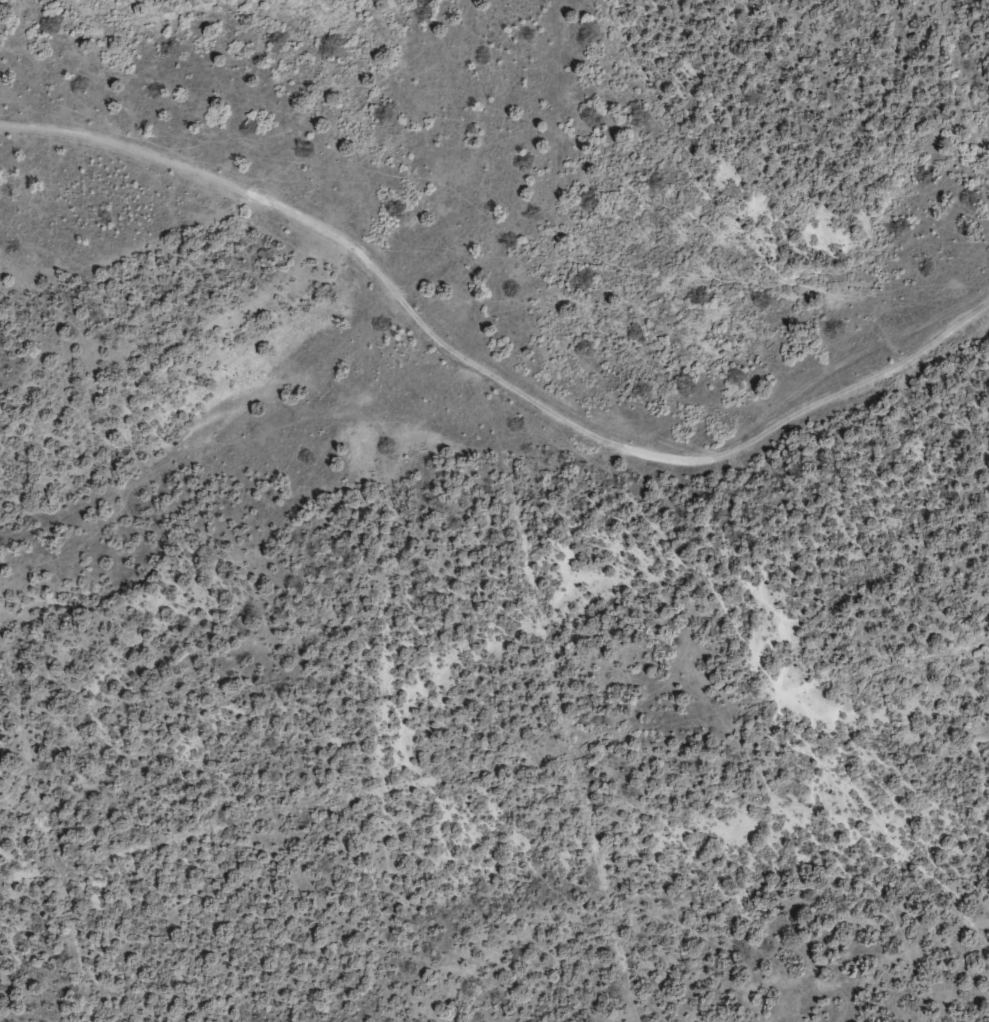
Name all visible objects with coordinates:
road: (468, 399)
road: (205, 489)

